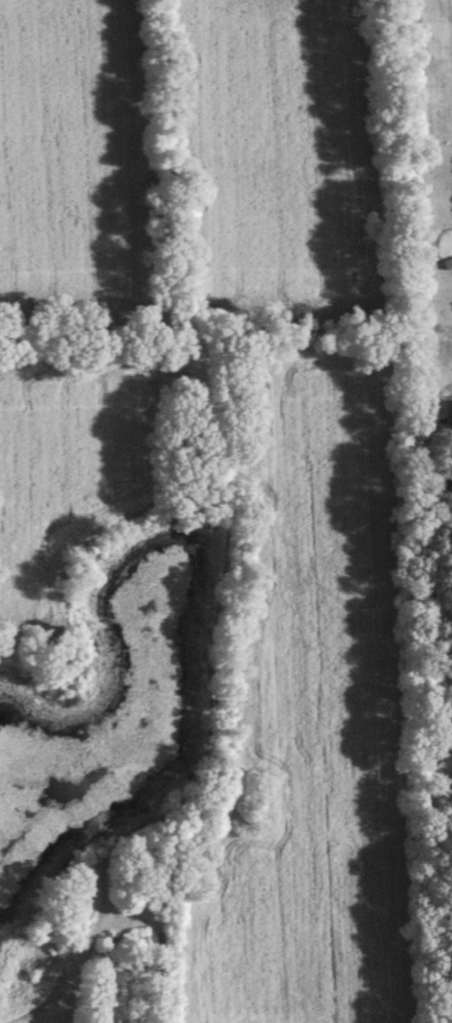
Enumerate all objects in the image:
building: (448, 267)
building: (450, 415)
building: (125, 944)

